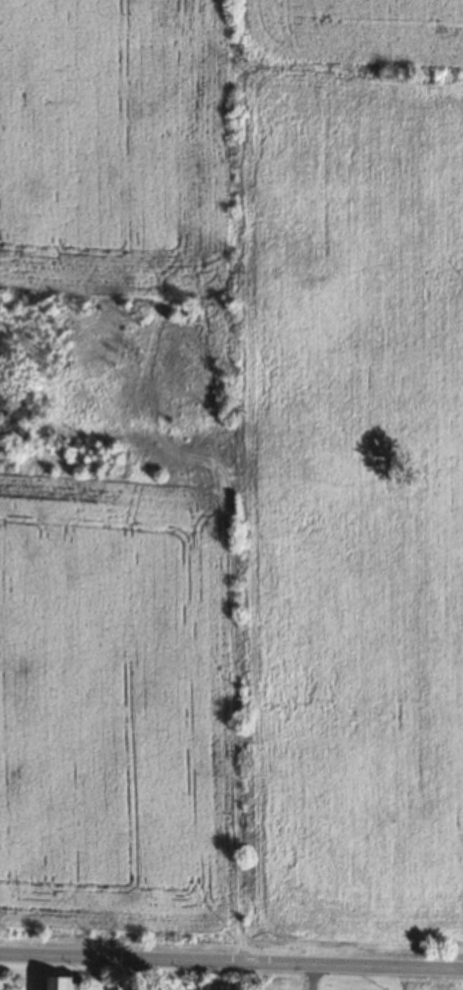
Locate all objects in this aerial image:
road: (231, 961)
road: (300, 977)
building: (66, 982)

